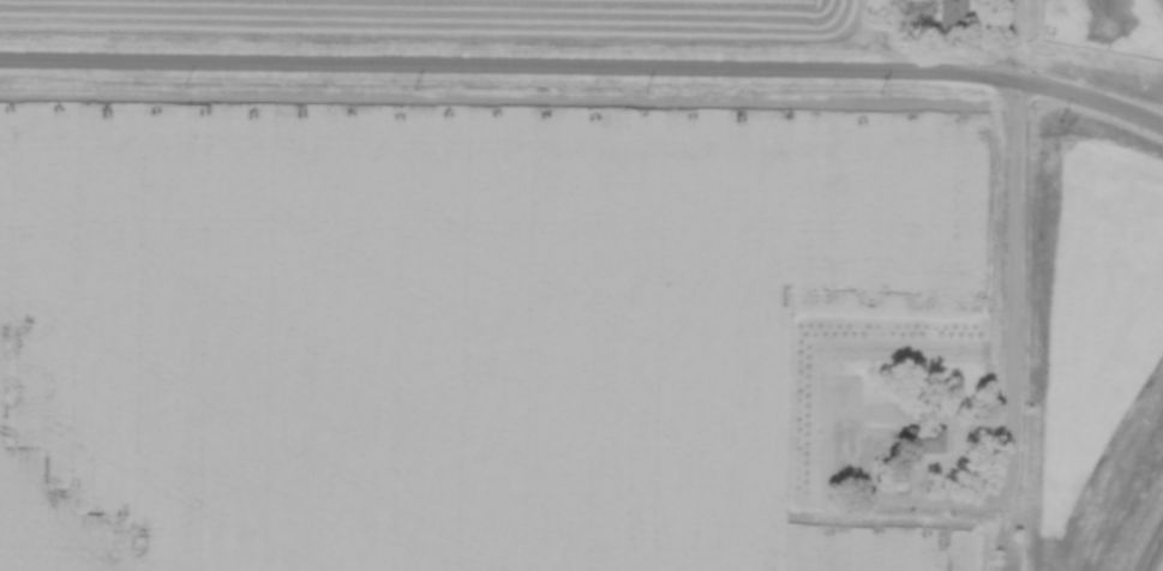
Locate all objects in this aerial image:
building: (954, 12)
road: (1007, 38)
road: (585, 70)
road: (1014, 324)
building: (923, 440)
road: (915, 498)
road: (1151, 551)

